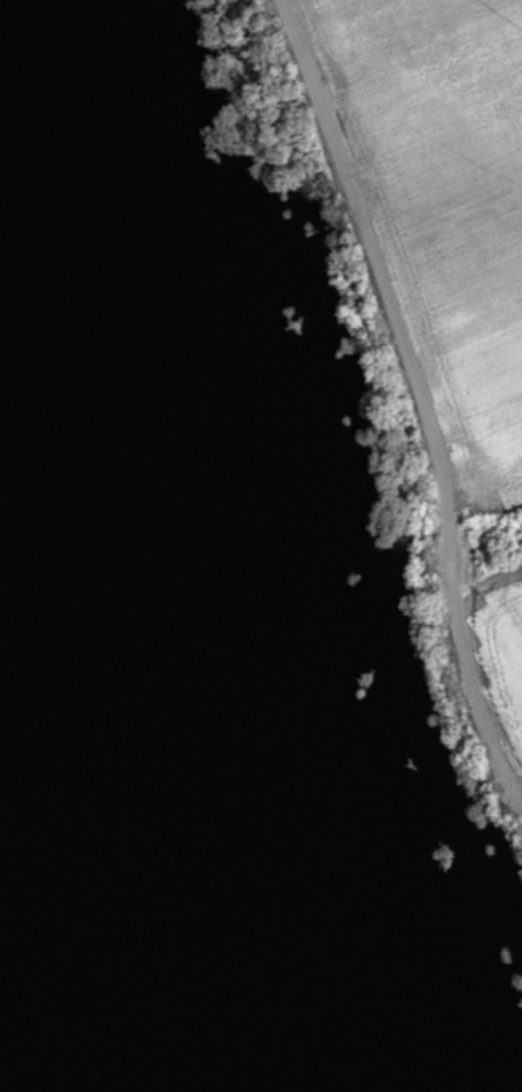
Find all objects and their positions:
road: (418, 403)

